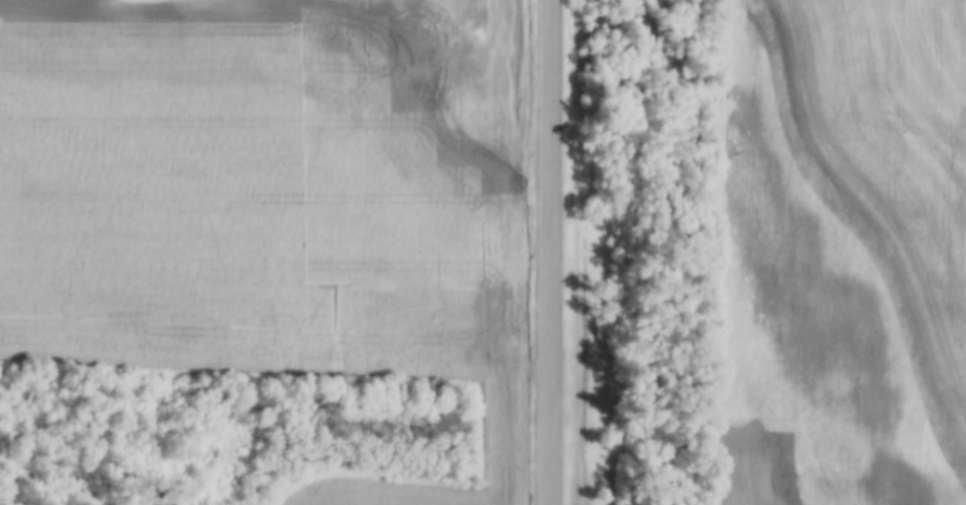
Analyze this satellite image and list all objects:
road: (557, 252)

